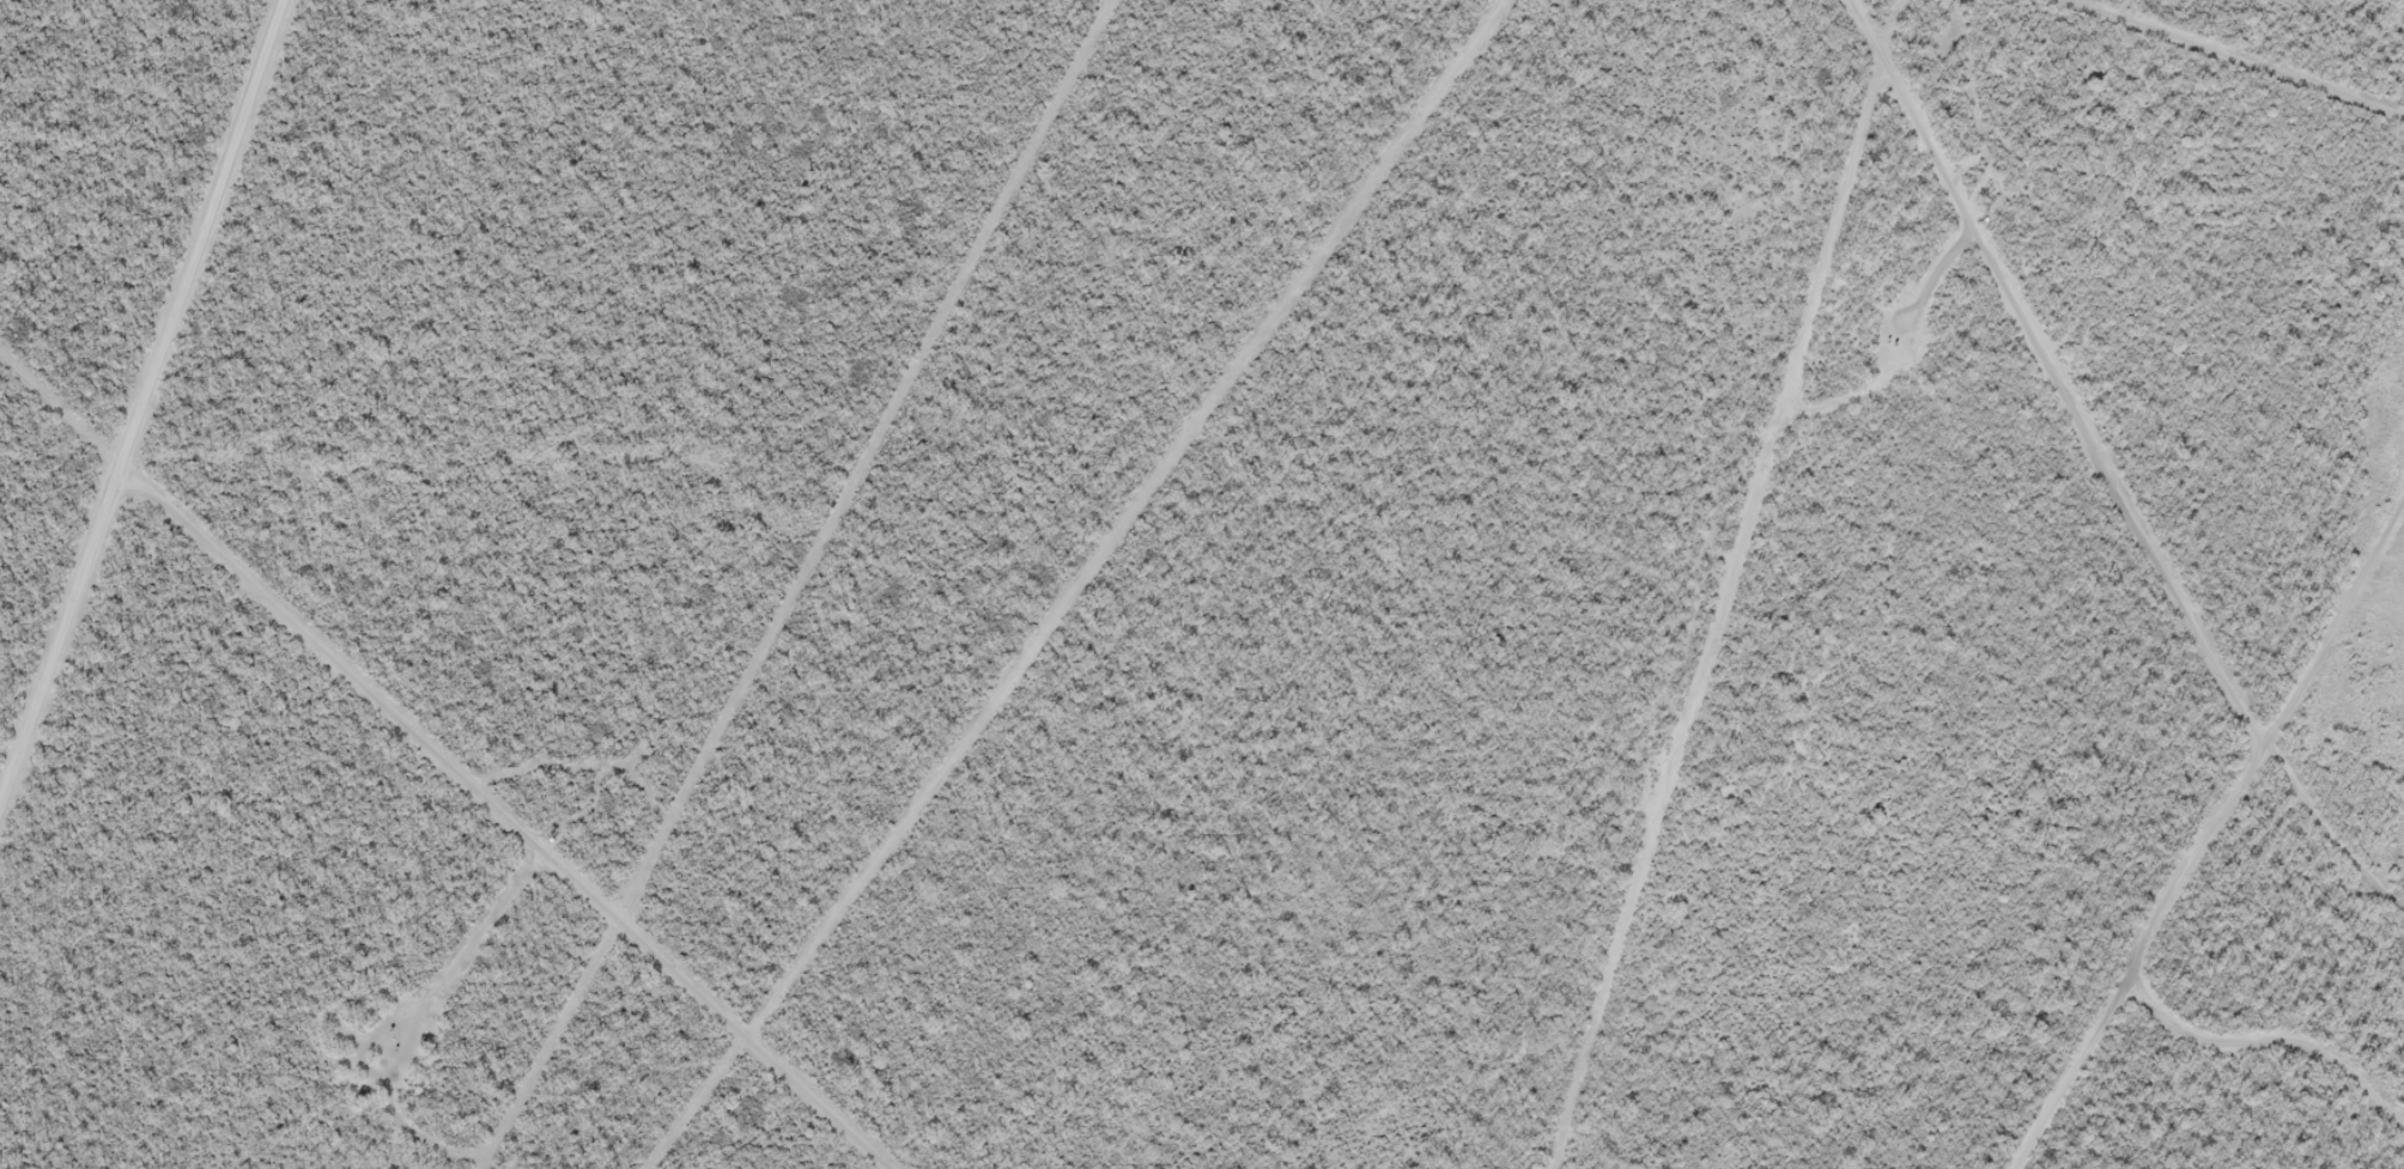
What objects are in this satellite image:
road: (141, 400)
road: (510, 811)

